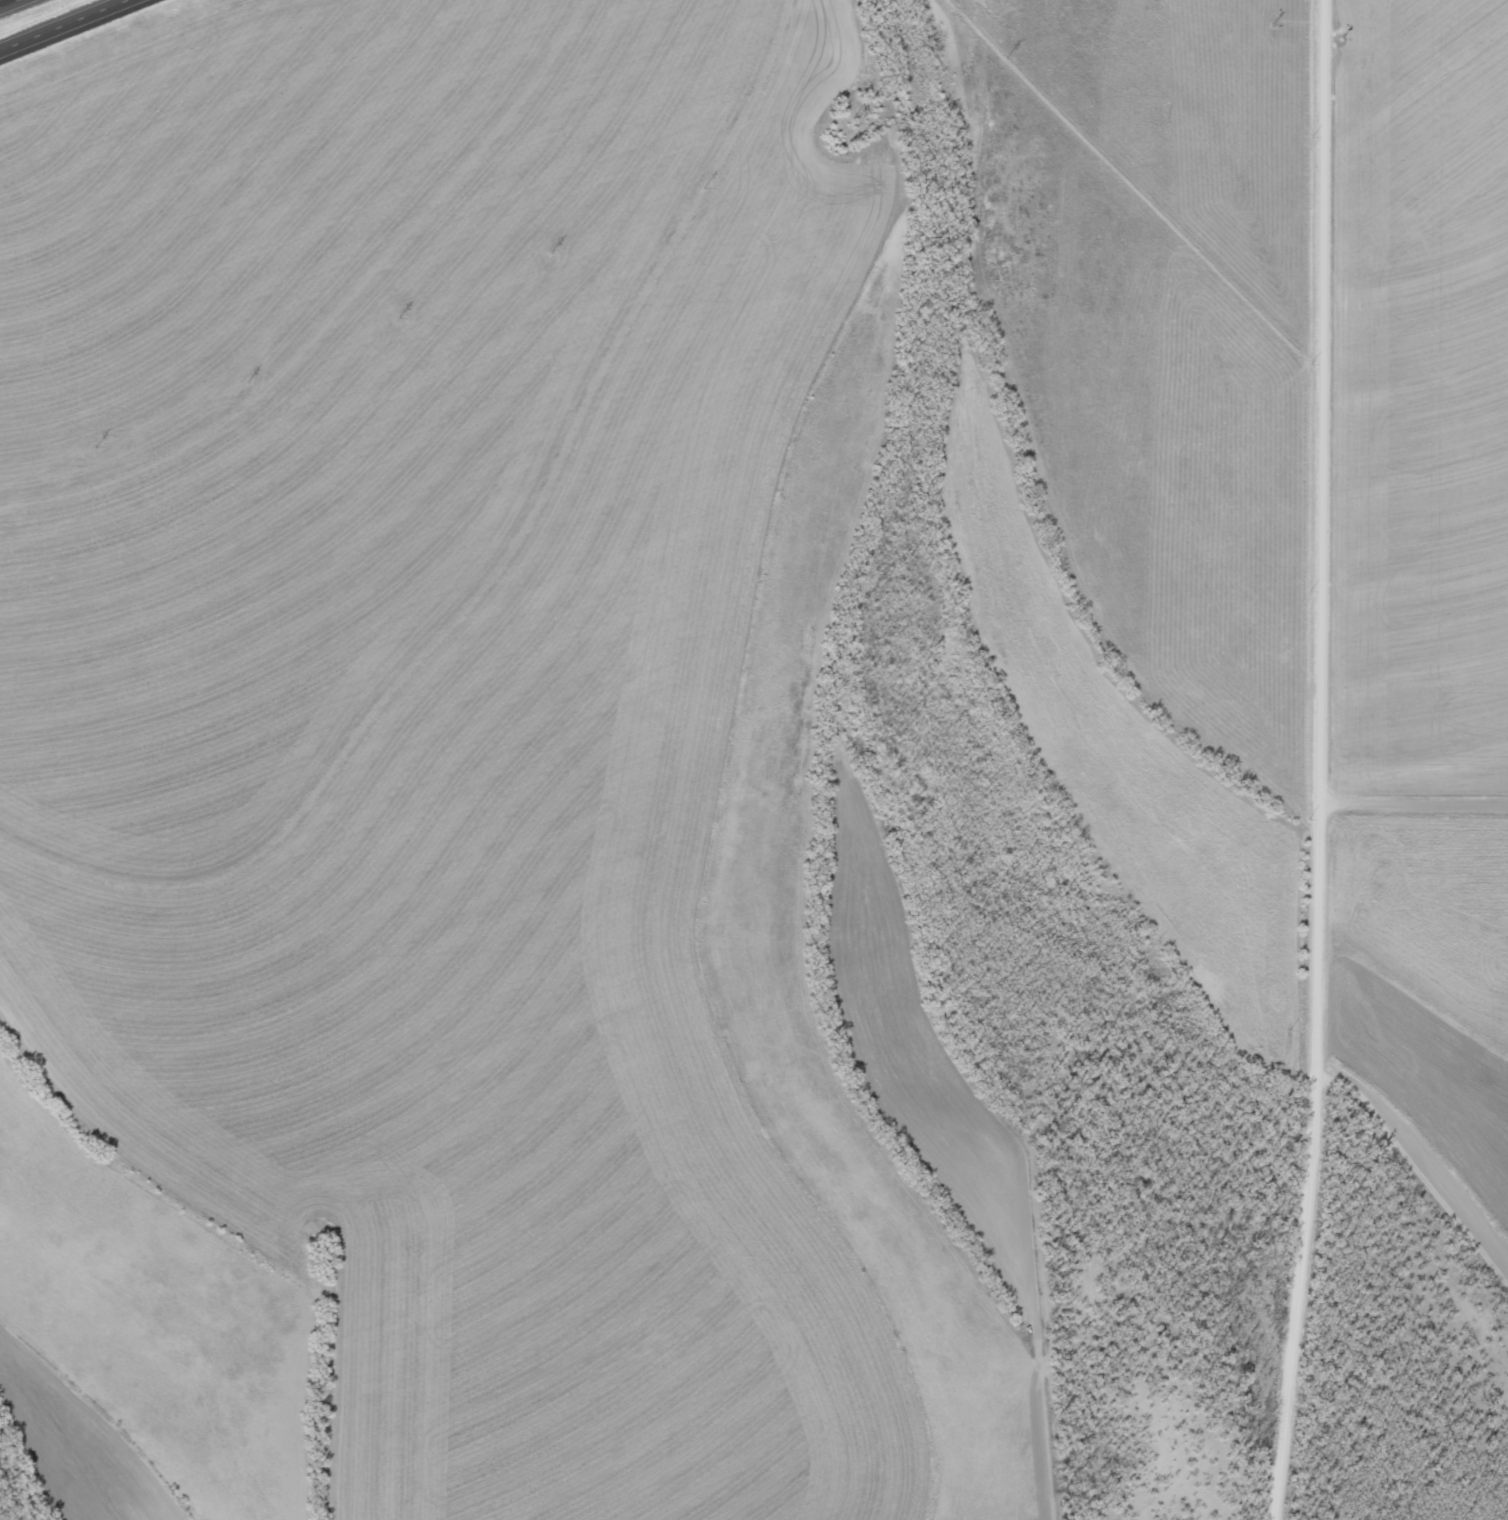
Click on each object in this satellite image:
road: (19, 7)
road: (74, 29)
road: (175, 142)
road: (351, 727)
road: (1342, 760)
road: (1425, 788)
road: (175, 1228)

